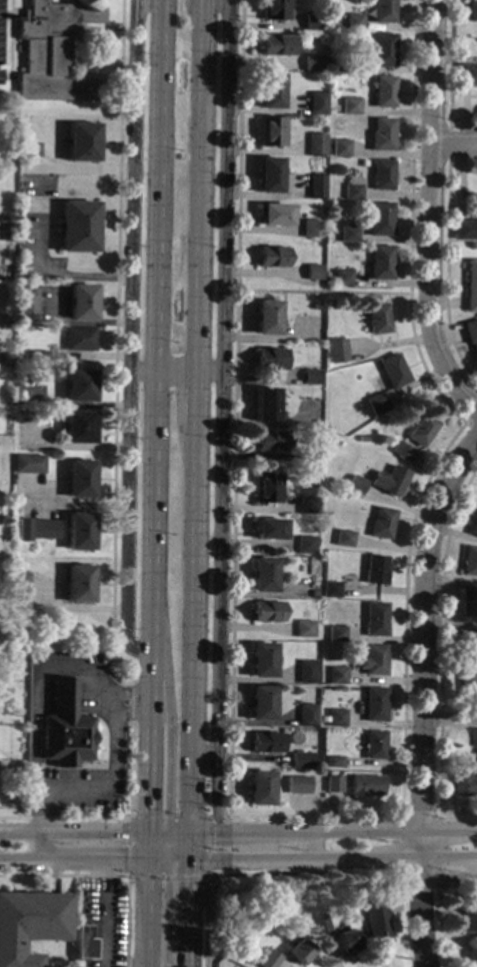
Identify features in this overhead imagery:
road: (206, 0)
road: (217, 1)
road: (139, 10)
building: (273, 10)
building: (384, 12)
building: (472, 12)
road: (5, 15)
building: (312, 22)
building: (353, 22)
road: (99, 29)
road: (10, 43)
building: (276, 46)
road: (76, 49)
building: (382, 51)
building: (55, 52)
building: (312, 63)
building: (344, 66)
road: (450, 75)
building: (467, 75)
building: (271, 91)
building: (384, 92)
building: (318, 104)
building: (350, 107)
building: (271, 132)
building: (382, 135)
building: (82, 143)
building: (316, 145)
road: (448, 145)
road: (454, 145)
building: (341, 148)
building: (363, 163)
road: (79, 168)
building: (269, 176)
building: (382, 176)
road: (225, 186)
road: (203, 187)
building: (316, 187)
building: (353, 189)
building: (476, 208)
road: (430, 212)
building: (275, 215)
building: (380, 219)
building: (78, 227)
building: (311, 228)
building: (465, 230)
building: (348, 232)
building: (332, 233)
building: (272, 257)
building: (380, 263)
road: (446, 263)
building: (314, 273)
road: (55, 275)
building: (342, 278)
building: (328, 280)
road: (152, 285)
building: (471, 286)
road: (323, 291)
building: (82, 302)
building: (28, 307)
building: (316, 307)
building: (267, 318)
building: (378, 319)
road: (129, 330)
building: (471, 335)
building: (80, 339)
building: (336, 351)
building: (39, 357)
building: (5, 360)
building: (270, 360)
road: (165, 372)
building: (393, 372)
road: (211, 373)
building: (311, 377)
building: (79, 386)
building: (310, 397)
road: (200, 398)
building: (266, 405)
building: (376, 405)
building: (23, 418)
road: (464, 422)
building: (79, 428)
building: (423, 431)
building: (362, 439)
building: (270, 442)
building: (403, 453)
building: (310, 462)
building: (28, 464)
building: (80, 479)
road: (113, 481)
building: (390, 481)
building: (266, 488)
building: (353, 488)
building: (308, 505)
road: (77, 506)
building: (381, 524)
building: (473, 527)
building: (269, 529)
building: (37, 531)
building: (79, 532)
building: (344, 539)
building: (306, 545)
building: (469, 562)
building: (375, 571)
building: (263, 576)
building: (78, 585)
building: (330, 590)
building: (19, 592)
building: (313, 594)
building: (468, 602)
road: (218, 604)
building: (267, 612)
building: (374, 620)
road: (424, 627)
road: (197, 628)
building: (304, 630)
building: (335, 634)
building: (468, 644)
building: (306, 647)
road: (440, 658)
building: (373, 660)
building: (261, 661)
road: (79, 672)
building: (306, 672)
building: (337, 676)
building: (468, 687)
road: (126, 694)
road: (167, 701)
road: (144, 702)
building: (261, 704)
building: (373, 705)
road: (124, 714)
building: (306, 716)
road: (450, 717)
building: (335, 718)
building: (64, 729)
road: (31, 732)
building: (472, 738)
building: (264, 743)
building: (373, 746)
road: (205, 756)
building: (301, 761)
building: (333, 762)
road: (112, 784)
building: (331, 784)
building: (297, 785)
building: (464, 785)
building: (364, 786)
building: (260, 789)
traffic signals: (141, 811)
traffic signals: (168, 812)
road: (328, 815)
road: (427, 816)
road: (35, 825)
road: (335, 831)
road: (70, 832)
road: (154, 833)
road: (180, 833)
traffic signals: (213, 833)
road: (157, 842)
road: (307, 845)
road: (141, 846)
road: (193, 847)
road: (173, 853)
road: (450, 857)
road: (308, 858)
road: (87, 860)
traffic signals: (121, 860)
road: (153, 860)
road: (17, 861)
road: (179, 861)
road: (465, 862)
road: (127, 865)
road: (418, 872)
road: (109, 875)
road: (258, 876)
road: (451, 878)
traffic signals: (193, 880)
traffic signals: (167, 882)
road: (457, 893)
road: (425, 898)
road: (105, 913)
road: (140, 913)
road: (166, 913)
road: (192, 914)
building: (469, 921)
building: (30, 924)
building: (318, 925)
building: (376, 925)
building: (345, 939)
building: (85, 943)
building: (299, 952)
building: (471, 958)
building: (268, 960)

